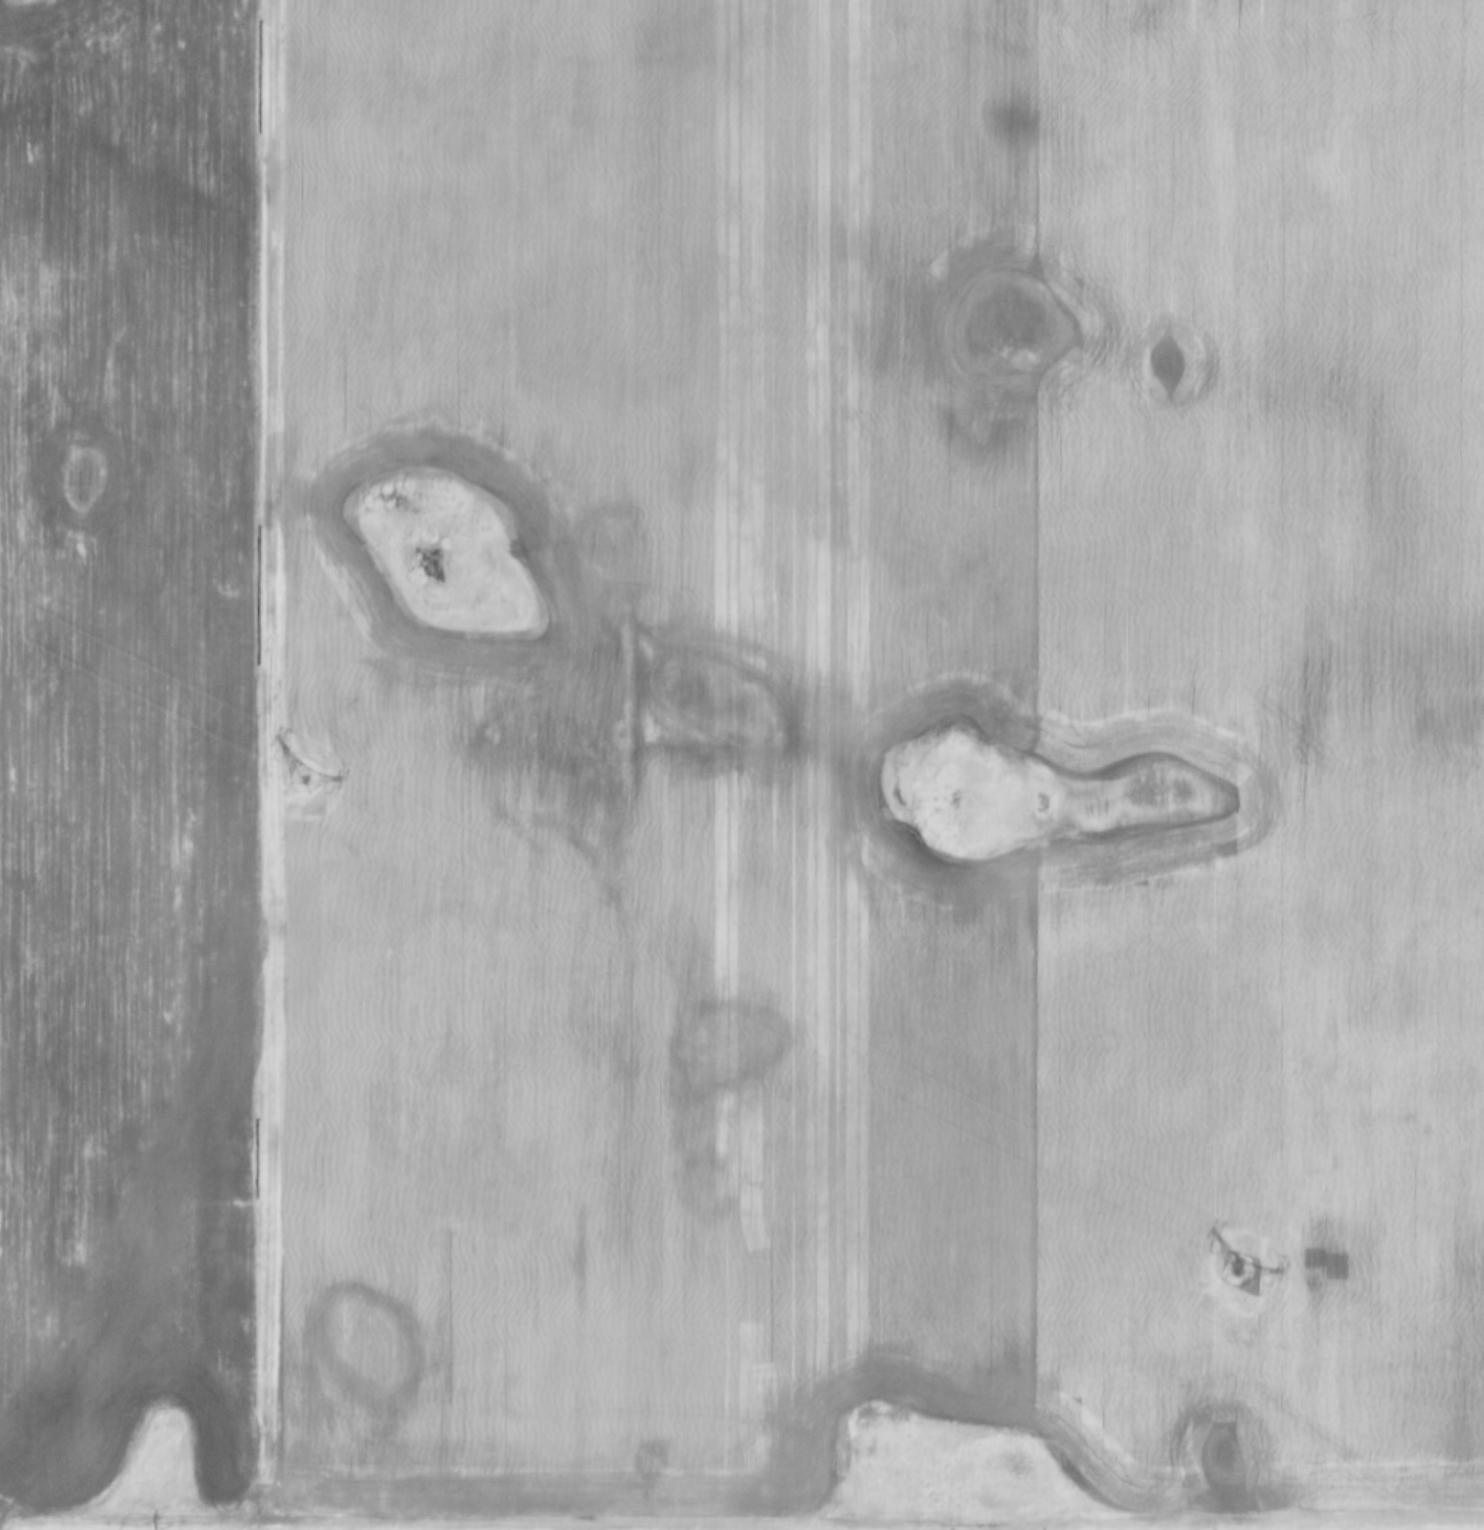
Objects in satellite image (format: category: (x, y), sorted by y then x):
power tower: (305, 778)
power tower: (1241, 1268)

